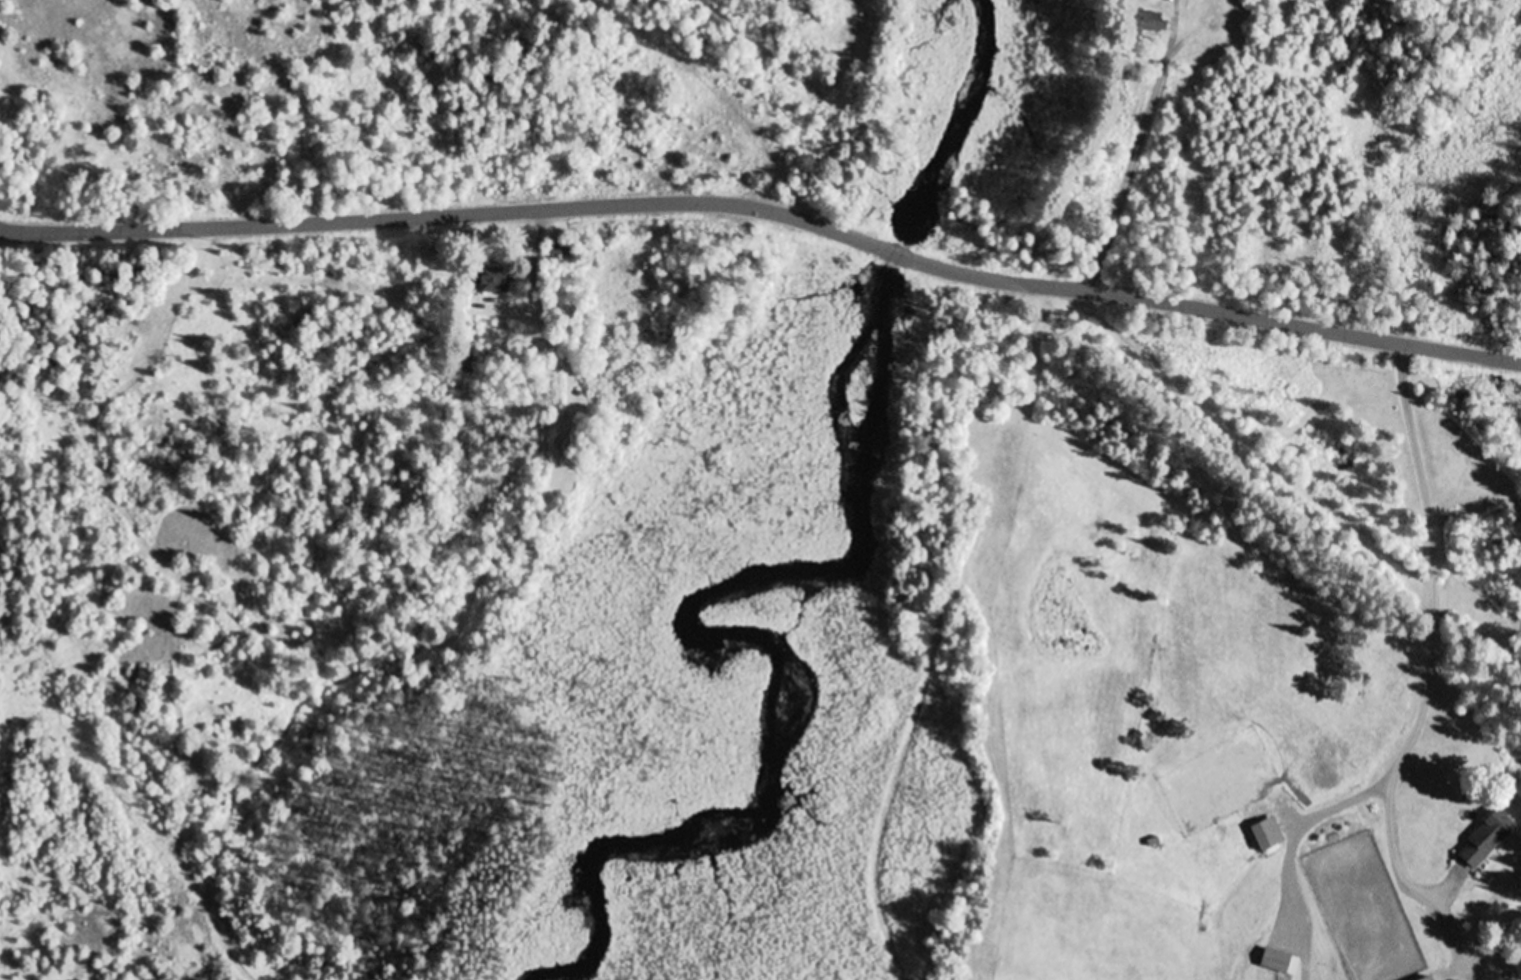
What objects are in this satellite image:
building: (1156, 23)
road: (439, 211)
building: (565, 248)
road: (900, 253)
building: (498, 280)
road: (1224, 309)
building: (119, 335)
road: (1223, 429)
road: (1416, 728)
building: (1268, 835)
building: (1488, 838)
building: (1275, 962)

